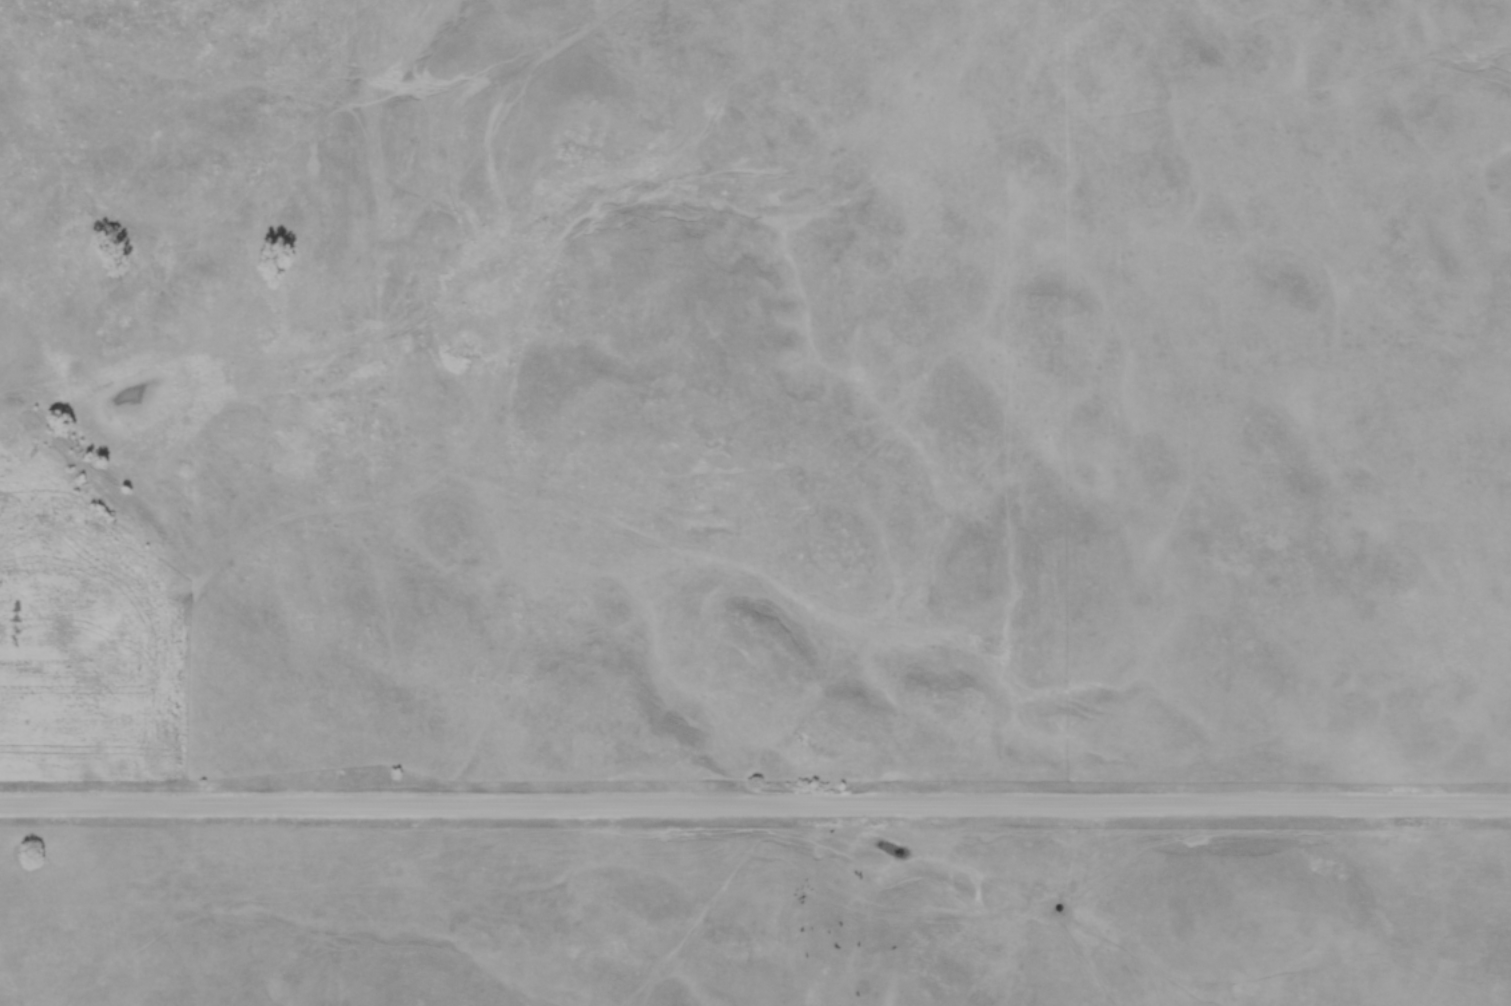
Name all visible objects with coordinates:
road: (755, 812)

